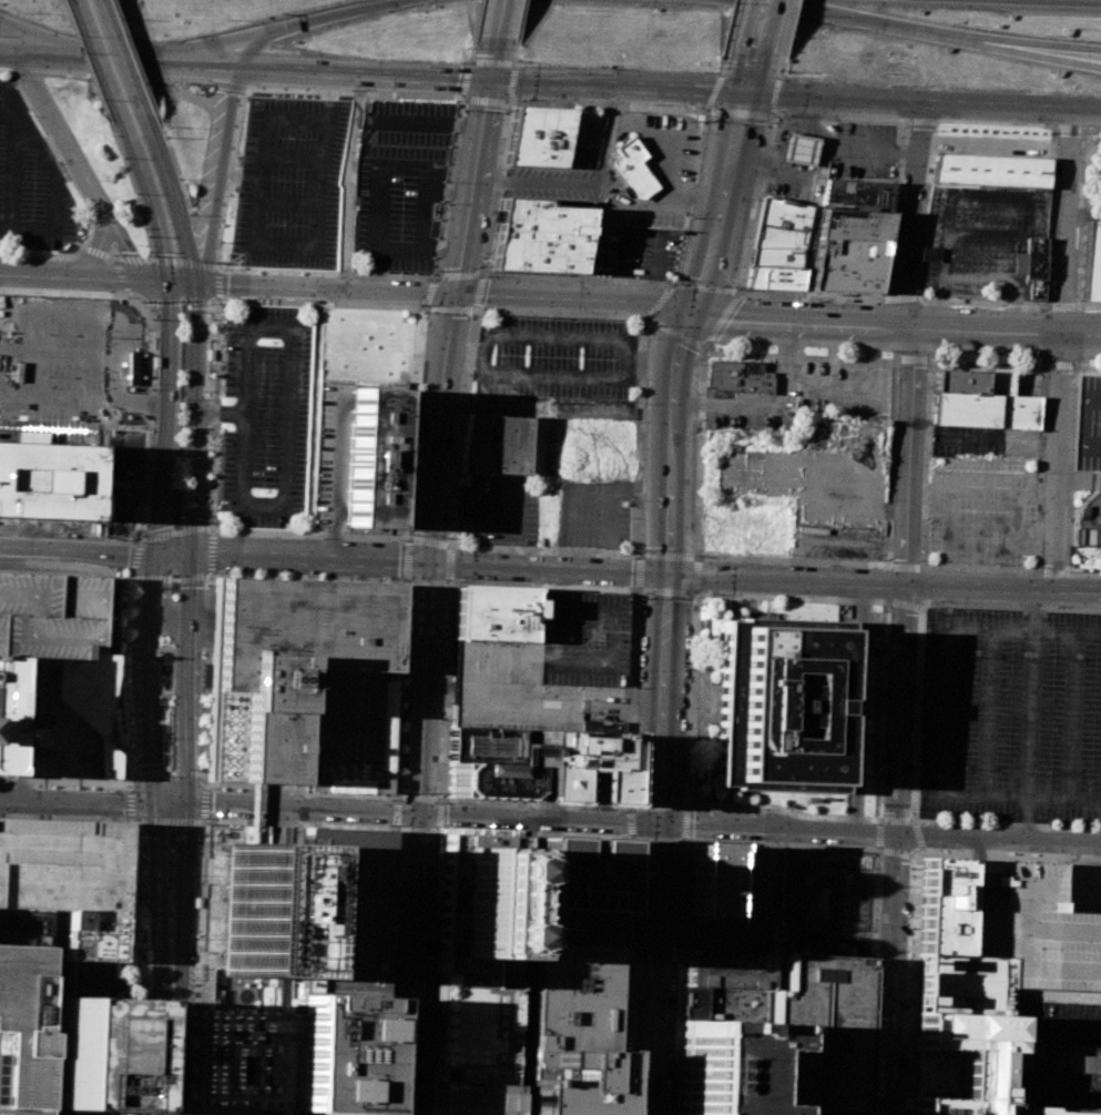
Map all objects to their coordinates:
road: (477, 18)
road: (500, 19)
road: (521, 20)
road: (886, 23)
road: (731, 27)
road: (762, 27)
road: (787, 28)
road: (282, 29)
road: (27, 42)
road: (1044, 47)
road: (471, 49)
road: (516, 51)
road: (1044, 54)
road: (83, 55)
railway: (90, 55)
road: (118, 55)
road: (100, 57)
railway: (123, 57)
road: (133, 58)
road: (119, 59)
road: (4, 69)
road: (28, 73)
road: (754, 74)
road: (126, 79)
road: (228, 84)
traffic signals: (491, 84)
road: (493, 84)
traffic signals: (751, 94)
road: (17, 100)
road: (487, 100)
road: (925, 104)
street lamp: (463, 108)
street lamp: (504, 109)
road: (10, 112)
road: (936, 121)
road: (506, 122)
parking lot: (408, 123)
road: (469, 128)
road: (26, 130)
street lamp: (1081, 132)
building: (540, 135)
parking lot: (584, 140)
parking lot: (993, 141)
road: (995, 143)
building: (798, 148)
gas station: (798, 148)
parking lot: (866, 150)
road: (233, 154)
road: (300, 158)
road: (62, 162)
road: (696, 165)
building: (635, 169)
building: (991, 169)
road: (826, 170)
road: (216, 173)
road: (86, 180)
road: (180, 180)
road: (348, 181)
street lamp: (453, 181)
parking lot: (31, 183)
road: (132, 184)
parking lot: (292, 185)
road: (447, 187)
road: (170, 194)
road: (600, 194)
road: (1001, 194)
building: (858, 195)
road: (52, 196)
road: (458, 196)
road: (720, 201)
road: (151, 204)
parking lot: (398, 205)
building: (544, 215)
street lamp: (690, 216)
road: (908, 216)
road: (1067, 222)
street lamp: (1078, 224)
building: (782, 234)
parking lot: (982, 236)
road: (220, 244)
building: (849, 250)
road: (100, 251)
building: (538, 251)
parking lot: (636, 252)
building: (930, 253)
road: (37, 254)
road: (93, 256)
building: (1091, 261)
building: (1032, 265)
street lamp: (438, 271)
road: (468, 272)
road: (481, 272)
road: (449, 274)
road: (432, 275)
road: (98, 276)
street lamp: (488, 276)
road: (979, 276)
building: (776, 277)
road: (125, 280)
traffic signals: (152, 280)
traffic signals: (164, 280)
street lamp: (679, 280)
traffic signals: (195, 281)
road: (674, 282)
street lamp: (663, 284)
street lamp: (671, 284)
street lamp: (736, 285)
road: (706, 286)
street lamp: (740, 288)
road: (743, 290)
road: (442, 291)
road: (479, 291)
traffic signals: (455, 292)
road: (114, 293)
road: (428, 293)
road: (834, 295)
road: (657, 298)
street lamp: (1074, 298)
road: (318, 303)
street lamp: (419, 305)
road: (939, 307)
traffic signals: (690, 308)
road: (421, 310)
road: (448, 310)
road: (1013, 310)
road: (476, 311)
street lamp: (585, 311)
street lamp: (1093, 311)
street lamp: (424, 312)
street lamp: (472, 315)
street lamp: (549, 316)
road: (644, 316)
road: (723, 318)
street lamp: (644, 323)
road: (894, 328)
railway: (157, 330)
railway: (206, 330)
road: (674, 332)
road: (562, 337)
street lamp: (645, 337)
flagpole: (181, 339)
road: (212, 339)
street lamp: (716, 343)
road: (706, 347)
street lamp: (884, 352)
road: (58, 354)
street lamp: (527, 354)
road: (787, 354)
street lamp: (581, 356)
road: (833, 356)
street lamp: (1030, 356)
parking lot: (64, 358)
road: (799, 358)
road: (913, 358)
road: (114, 359)
parking lot: (557, 362)
street lamp: (699, 364)
road: (1060, 366)
road: (1073, 366)
road: (1088, 367)
flagpole: (181, 368)
street lamp: (1047, 371)
road: (553, 373)
building: (740, 376)
building: (959, 382)
building: (999, 383)
road: (792, 385)
parking lot: (846, 389)
flagpole: (180, 397)
road: (137, 402)
parking lot: (762, 402)
street lamp: (643, 403)
road: (928, 404)
building: (966, 408)
building: (1018, 410)
road: (555, 412)
road: (214, 413)
road: (217, 413)
parking lot: (266, 416)
street lamp: (699, 416)
road: (288, 418)
street lamp: (453, 418)
road: (1083, 423)
building: (1088, 423)
road: (409, 424)
parking lot: (1089, 425)
road: (48, 427)
road: (122, 429)
road: (639, 437)
road: (456, 438)
building: (712, 438)
road: (672, 439)
parking lot: (986, 442)
road: (985, 444)
building: (503, 446)
street lamp: (924, 452)
road: (700, 453)
building: (330, 454)
parking garage: (330, 454)
building: (368, 457)
road: (1057, 460)
road: (891, 462)
road: (1067, 462)
road: (1042, 468)
road: (1070, 469)
parking lot: (815, 473)
street lamp: (1043, 473)
building: (47, 479)
road: (1074, 482)
street lamp: (695, 486)
flagpole: (176, 487)
road: (493, 497)
street lamp: (642, 499)
road: (608, 500)
parking lot: (499, 511)
road: (565, 511)
parking lot: (985, 511)
parking lot: (594, 514)
flagpole: (175, 516)
road: (479, 517)
building: (1088, 517)
street lamp: (101, 523)
street lamp: (110, 523)
street lamp: (118, 523)
road: (129, 524)
road: (1068, 527)
road: (192, 529)
road: (210, 530)
road: (307, 533)
road: (140, 534)
street lamp: (407, 534)
street lamp: (448, 538)
road: (407, 539)
road: (185, 541)
parking lot: (837, 541)
road: (450, 545)
street lamp: (456, 548)
street lamp: (641, 548)
road: (75, 549)
street lamp: (694, 549)
road: (150, 551)
traffic signals: (151, 551)
traffic signals: (185, 554)
street lamp: (696, 554)
road: (666, 555)
road: (288, 557)
street lamp: (628, 557)
street lamp: (919, 559)
traffic signals: (427, 561)
road: (867, 565)
road: (547, 567)
road: (635, 571)
street lamp: (212, 572)
traffic signals: (667, 572)
road: (1051, 572)
road: (1081, 572)
road: (207, 574)
road: (426, 574)
road: (447, 575)
road: (695, 575)
road: (150, 577)
road: (305, 578)
road: (402, 581)
road: (884, 581)
road: (417, 582)
street lamp: (551, 584)
street lamp: (206, 585)
street lamp: (407, 586)
road: (544, 586)
street lamp: (134, 587)
street lamp: (446, 587)
road: (667, 590)
street lamp: (712, 591)
street lamp: (638, 597)
street lamp: (934, 600)
road: (888, 601)
street lamp: (639, 602)
road: (901, 604)
road: (918, 606)
street lamp: (1051, 606)
road: (159, 608)
road: (1044, 608)
railway: (141, 609)
street lamp: (692, 609)
road: (1034, 609)
railway: (187, 610)
building: (493, 614)
building: (50, 615)
parking lot: (50, 615)
street lamp: (126, 649)
street lamp: (968, 656)
street lamp: (203, 657)
street lamp: (1052, 659)
building: (284, 662)
building: (548, 668)
parking garage: (548, 668)
fountain: (165, 670)
road: (123, 679)
road: (205, 681)
street lamp: (915, 685)
road: (445, 688)
street lamp: (201, 689)
road: (632, 696)
road: (692, 697)
road: (661, 698)
road: (173, 703)
building: (784, 705)
road: (881, 708)
street lamp: (201, 709)
building: (4, 710)
street lamp: (130, 712)
road: (947, 713)
road: (989, 713)
parking lot: (1012, 714)
road: (1032, 716)
building: (68, 717)
road: (916, 717)
road: (1073, 718)
road: (898, 721)
building: (602, 726)
building: (348, 731)
parking lot: (348, 731)
street lamp: (200, 742)
building: (488, 746)
building: (578, 767)
street lamp: (964, 768)
street lamp: (126, 770)
street lamp: (201, 770)
road: (145, 772)
road: (165, 772)
road: (184, 772)
street lamp: (1048, 772)
road: (131, 773)
road: (200, 773)
road: (2, 780)
road: (78, 781)
building: (487, 781)
road: (17, 783)
road: (395, 784)
road: (129, 787)
street lamp: (115, 789)
road: (395, 797)
road: (417, 798)
road: (439, 799)
road: (75, 801)
road: (203, 801)
traffic signals: (153, 803)
road: (166, 803)
traffic signals: (180, 803)
road: (689, 803)
road: (130, 804)
road: (254, 804)
road: (534, 804)
road: (629, 808)
street lamp: (909, 810)
road: (394, 812)
road: (440, 813)
traffic signals: (416, 815)
road: (417, 815)
street lamp: (105, 818)
street lamp: (206, 818)
road: (876, 819)
road: (1028, 819)
road: (1036, 819)
road: (133, 820)
road: (326, 820)
road: (894, 820)
road: (911, 820)
road: (167, 821)
road: (296, 823)
traffic signals: (655, 825)
street lamp: (992, 827)
road: (1003, 828)
street lamp: (197, 829)
road: (415, 830)
road: (439, 831)
street lamp: (140, 832)
road: (876, 834)
road: (878, 834)
road: (916, 834)
street lamp: (435, 835)
street lamp: (397, 837)
road: (685, 839)
road: (295, 844)
road: (781, 845)
street lamp: (868, 845)
road: (977, 849)
road: (876, 850)
road: (894, 851)
road: (916, 852)
road: (1010, 854)
road: (1040, 856)
street lamp: (910, 868)
road: (205, 869)
road: (880, 872)
building: (572, 875)
railway: (196, 876)
road: (437, 876)
building: (67, 880)
road: (139, 880)
building: (705, 880)
building: (748, 881)
road: (162, 884)
road: (174, 884)
parking lot: (1081, 886)
road: (1085, 886)
road: (129, 889)
road: (150, 892)
road: (220, 892)
road: (129, 894)
road: (801, 901)
road: (123, 902)
road: (136, 902)
parking lot: (827, 902)
road: (193, 904)
building: (256, 905)
building: (481, 906)
building: (942, 906)
road: (194, 911)
road: (198, 911)
building: (341, 911)
road: (213, 916)
street lamp: (394, 918)
road: (122, 923)
road: (132, 923)
road: (522, 923)
road: (147, 925)
railway: (150, 925)
building: (1031, 925)
road: (122, 926)
building: (22, 928)
street lamp: (913, 928)
road: (398, 932)
road: (223, 936)
road: (877, 936)
street lamp: (195, 937)
street lamp: (144, 940)
road: (398, 942)
road: (146, 944)
road: (143, 945)
road: (917, 955)
road: (198, 962)
road: (150, 965)
building: (727, 967)
road: (197, 970)
road: (388, 970)
road: (389, 970)
road: (650, 970)
street lamp: (429, 972)
road: (397, 975)
road: (623, 979)
road: (679, 979)
road: (905, 980)
road: (208, 982)
road: (870, 982)
road: (913, 983)
building: (964, 984)
road: (396, 986)
road: (386, 992)
building: (65, 994)
street lamp: (909, 1002)
road: (143, 1006)
road: (143, 1012)
building: (568, 1012)
road: (1016, 1012)
street lamp: (196, 1014)
street lamp: (151, 1015)
building: (473, 1021)
parking garage: (473, 1021)
parking lot: (1056, 1023)
road: (1058, 1024)
road: (142, 1027)
building: (22, 1031)
building: (817, 1036)
road: (171, 1041)
road: (142, 1042)
street lamp: (388, 1042)
building: (142, 1046)
road: (142, 1047)
road: (150, 1047)
building: (100, 1054)
building: (336, 1054)
building: (1059, 1057)
building: (245, 1061)
building: (960, 1064)
building: (717, 1066)
street lamp: (906, 1070)
road: (195, 1083)
building: (1059, 1088)
building: (472, 1089)
road: (190, 1095)
street lamp: (385, 1106)
road: (517, 1107)
street lamp: (191, 1108)
building: (1054, 1111)
building: (70, 1112)
road: (70, 1112)
road: (198, 1113)
road: (239, 1113)
road: (285, 1113)
road: (286, 1113)
road: (318, 1113)
street lamp: (154, 1114)
road: (184, 1114)

